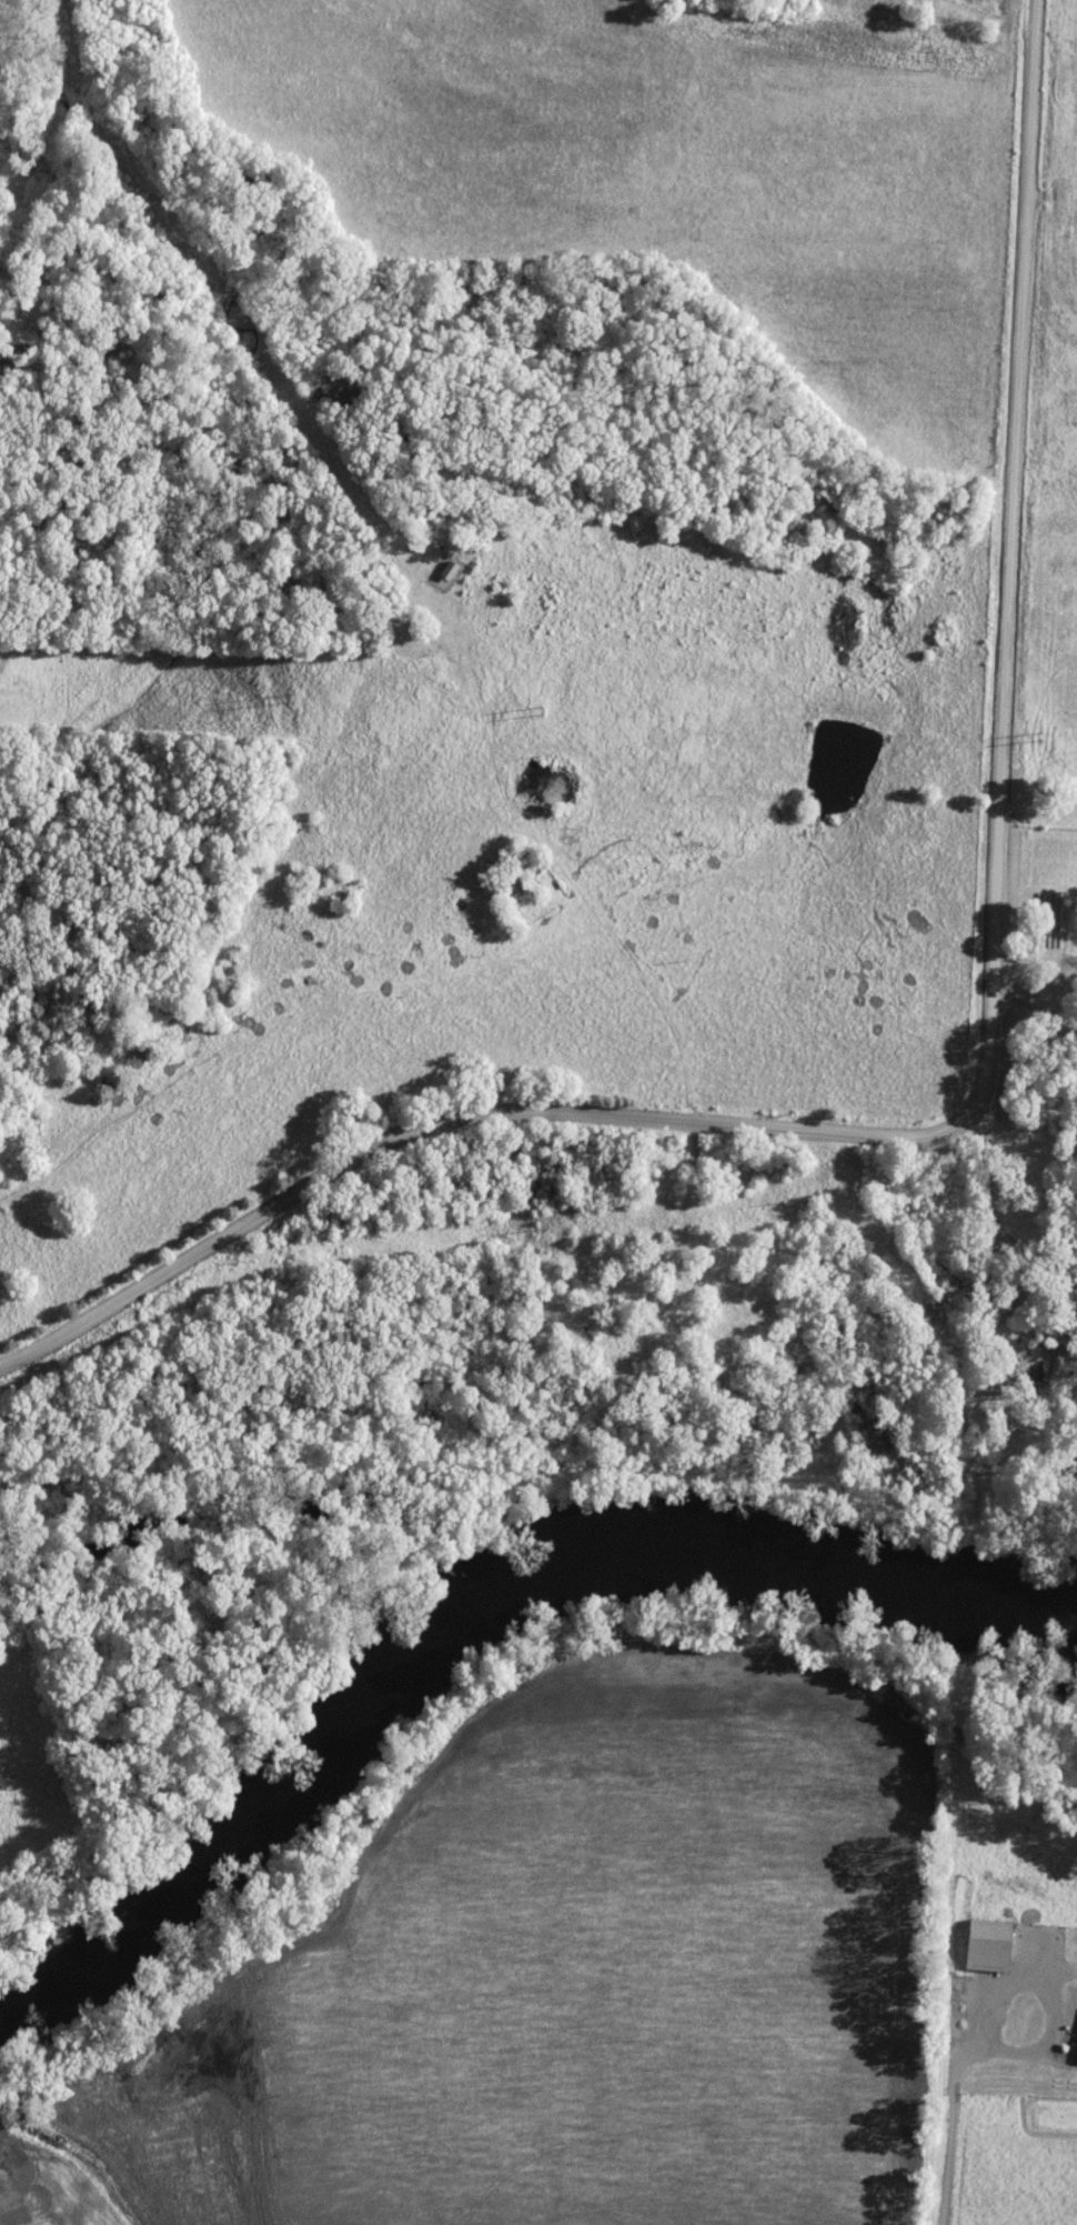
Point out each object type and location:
power tower: (290, 700)
power tower: (536, 712)
power tower: (1034, 740)
road: (1035, 1002)
road: (988, 1081)
building: (978, 1947)
building: (1074, 2046)
road: (1019, 2051)
road: (955, 2102)

